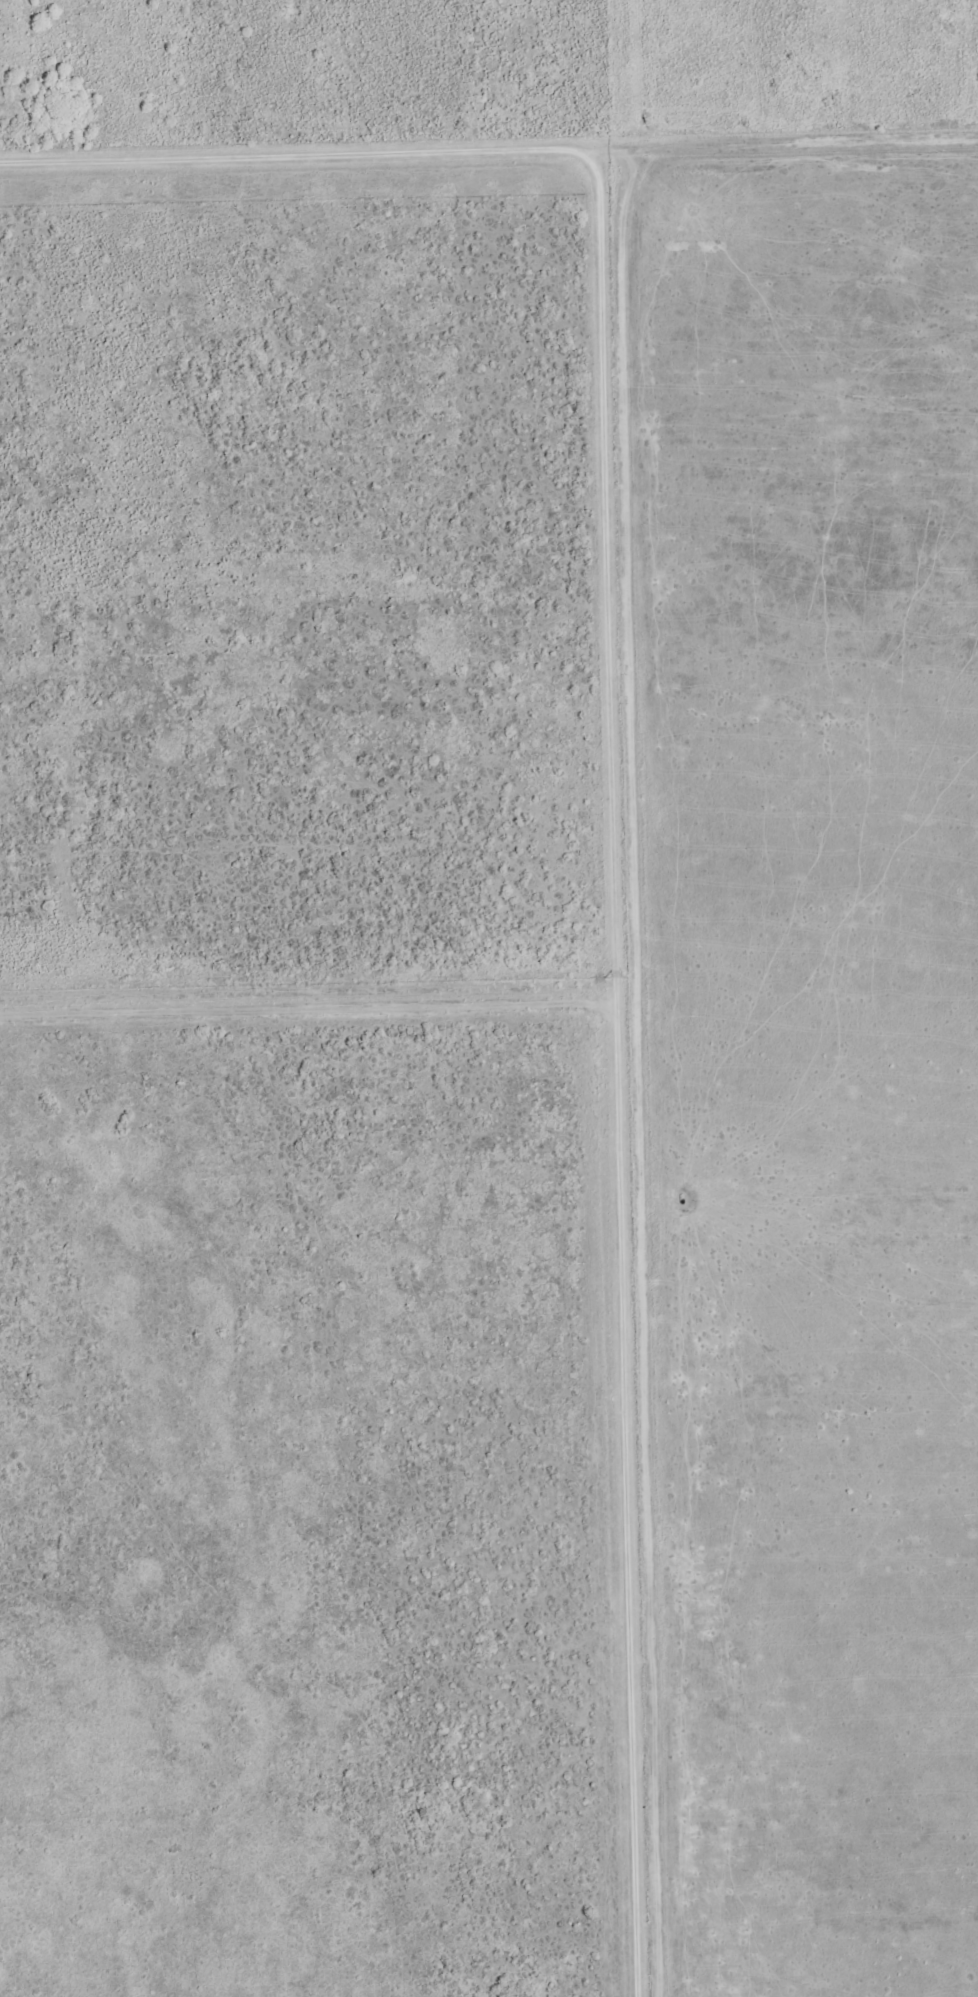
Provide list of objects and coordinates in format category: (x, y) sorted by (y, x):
road: (613, 781)
road: (309, 1005)

